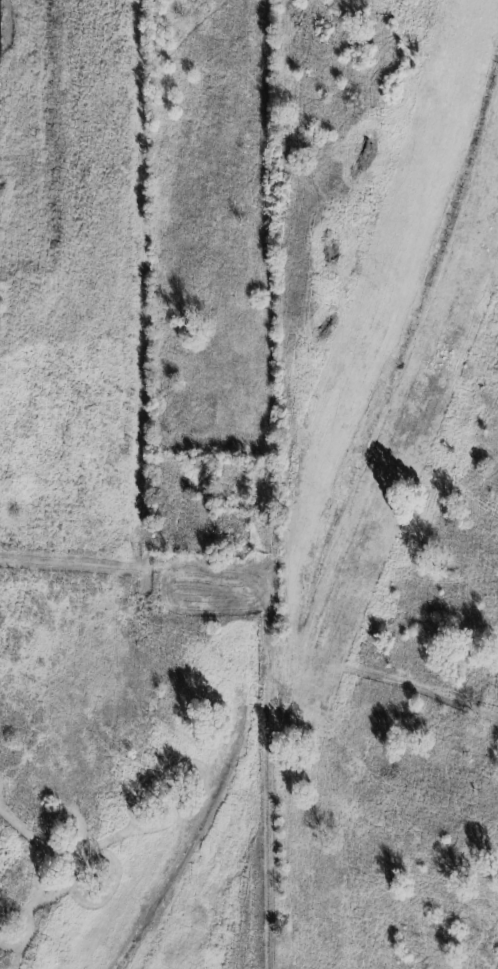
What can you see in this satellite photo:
road: (284, 484)
road: (140, 570)

